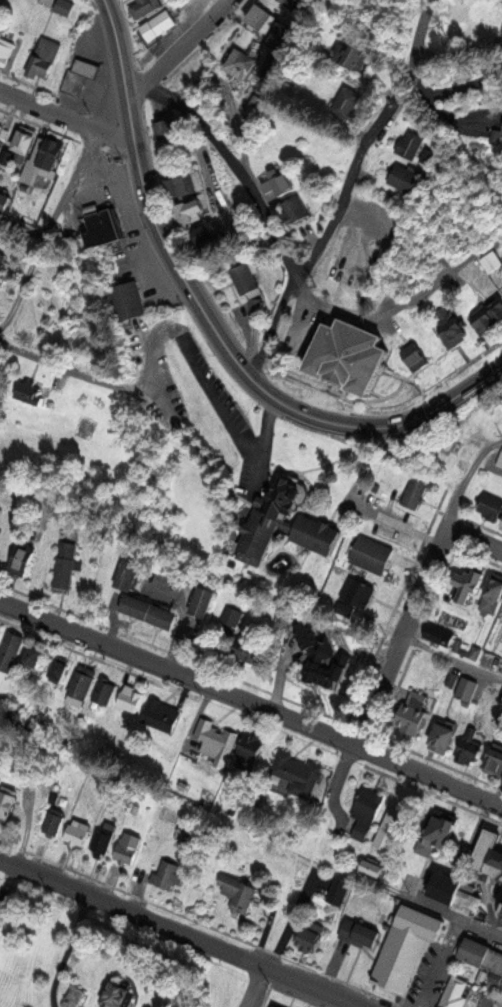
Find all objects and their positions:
building: (283, 1)
building: (65, 6)
building: (146, 6)
building: (262, 18)
building: (158, 24)
building: (282, 35)
building: (6, 48)
road: (415, 48)
road: (179, 50)
building: (356, 54)
building: (44, 56)
building: (196, 67)
building: (80, 75)
road: (464, 84)
building: (348, 103)
road: (66, 118)
road: (460, 119)
building: (167, 129)
building: (497, 134)
building: (24, 141)
building: (411, 145)
building: (430, 154)
building: (6, 156)
building: (41, 160)
building: (407, 178)
building: (283, 183)
building: (180, 186)
building: (6, 202)
building: (296, 208)
building: (189, 211)
building: (100, 228)
road: (21, 230)
road: (44, 234)
building: (208, 234)
road: (319, 243)
building: (3, 261)
road: (293, 276)
building: (246, 278)
building: (127, 301)
building: (497, 301)
building: (481, 317)
road: (212, 325)
building: (455, 331)
road: (0, 342)
building: (420, 355)
building: (359, 356)
road: (196, 360)
road: (64, 368)
building: (30, 393)
road: (266, 438)
building: (465, 449)
road: (288, 459)
road: (334, 460)
building: (500, 462)
road: (466, 478)
road: (37, 492)
building: (416, 493)
building: (1, 508)
building: (491, 508)
building: (284, 524)
road: (475, 539)
building: (372, 553)
building: (24, 556)
building: (66, 571)
building: (128, 575)
building: (471, 583)
building: (496, 587)
building: (357, 596)
building: (204, 600)
building: (139, 607)
building: (164, 615)
building: (232, 616)
building: (0, 630)
building: (1, 633)
building: (439, 633)
road: (400, 637)
building: (13, 650)
building: (476, 653)
building: (37, 655)
road: (450, 658)
building: (319, 659)
building: (60, 667)
building: (501, 670)
road: (176, 675)
building: (83, 685)
building: (466, 689)
building: (107, 692)
building: (130, 701)
building: (158, 714)
building: (413, 719)
building: (446, 736)
building: (216, 739)
building: (471, 745)
building: (249, 756)
building: (496, 759)
building: (297, 773)
road: (427, 777)
building: (10, 802)
building: (368, 805)
building: (52, 822)
building: (76, 835)
building: (438, 836)
building: (102, 841)
building: (128, 847)
building: (488, 849)
building: (497, 864)
building: (375, 866)
building: (169, 874)
building: (448, 889)
building: (339, 890)
building: (0, 893)
building: (243, 895)
building: (0, 906)
building: (500, 913)
road: (455, 918)
building: (360, 932)
road: (178, 933)
building: (311, 935)
building: (408, 947)
road: (65, 950)
building: (481, 954)
road: (444, 964)
road: (254, 987)
building: (454, 993)
building: (122, 996)
building: (75, 997)
building: (279, 1006)

